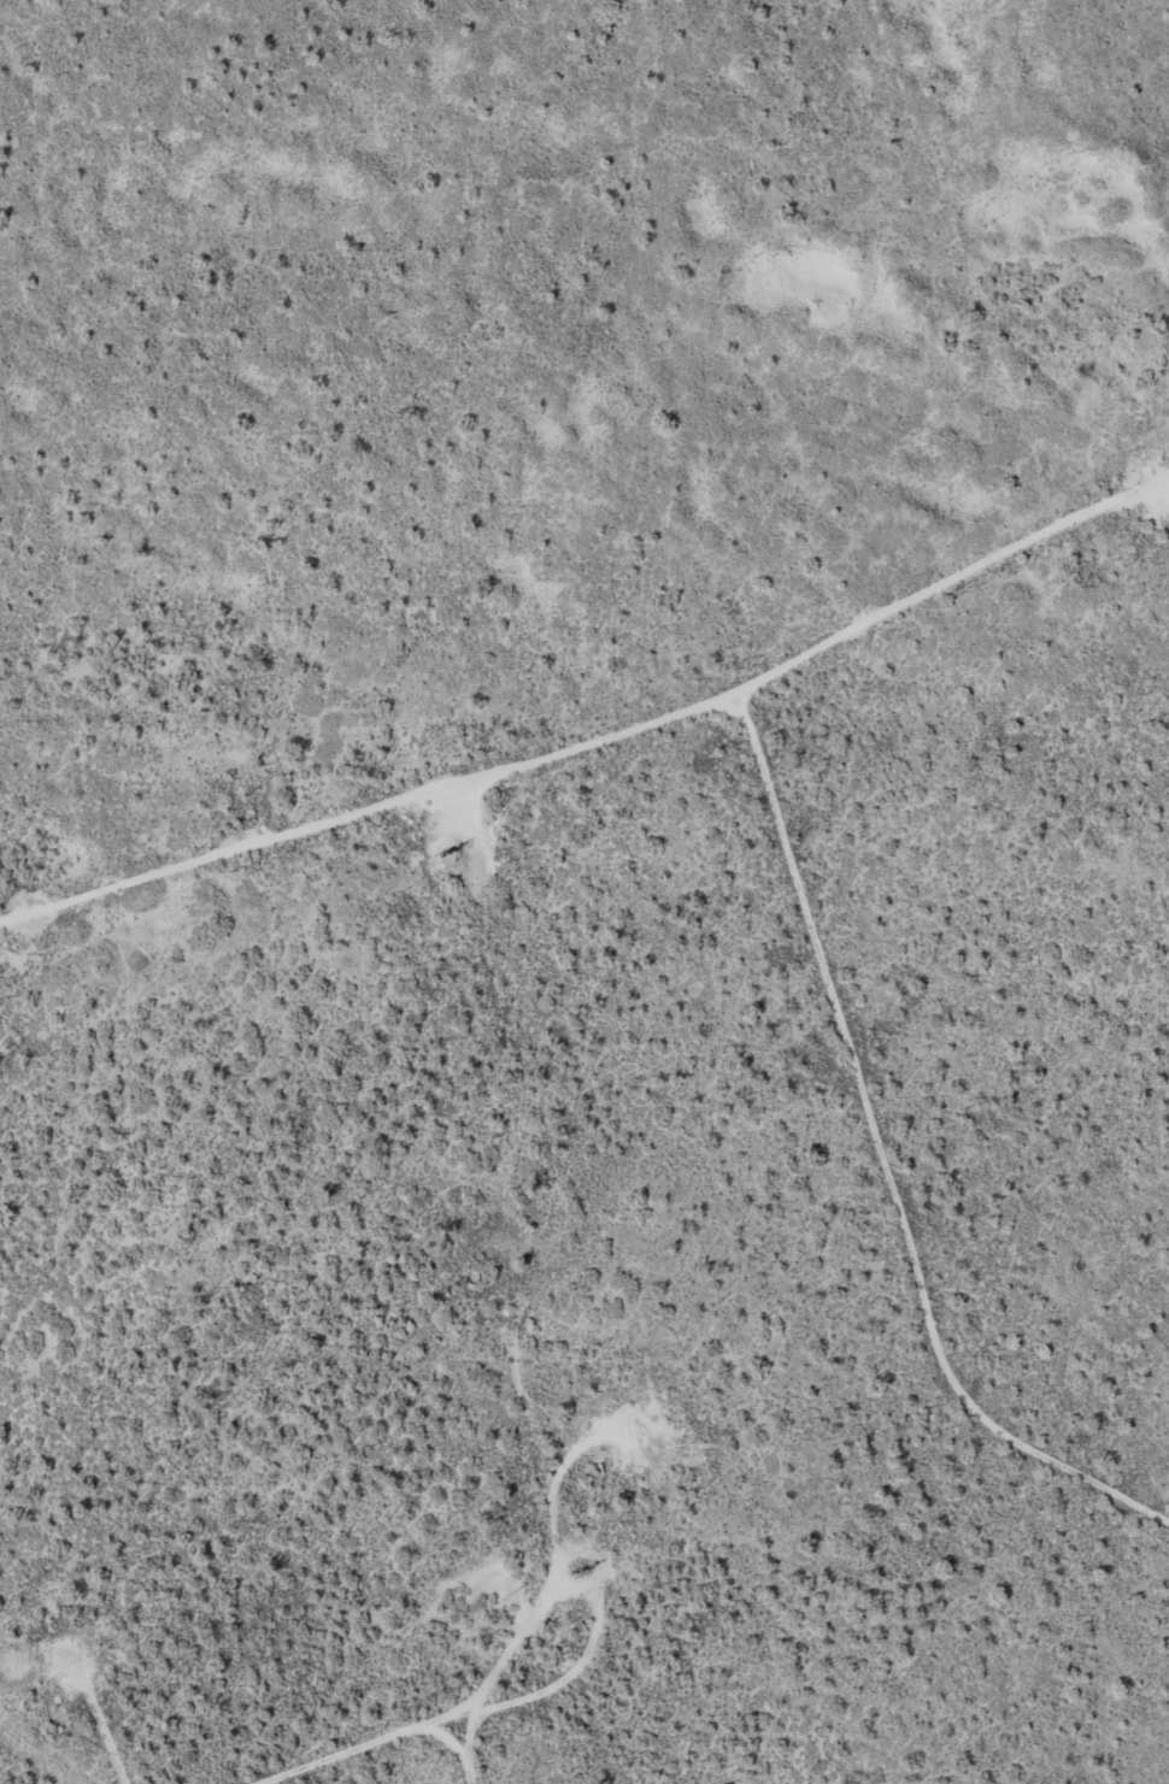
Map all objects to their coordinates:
road: (594, 760)
road: (885, 1162)
road: (541, 1374)
road: (493, 1756)

